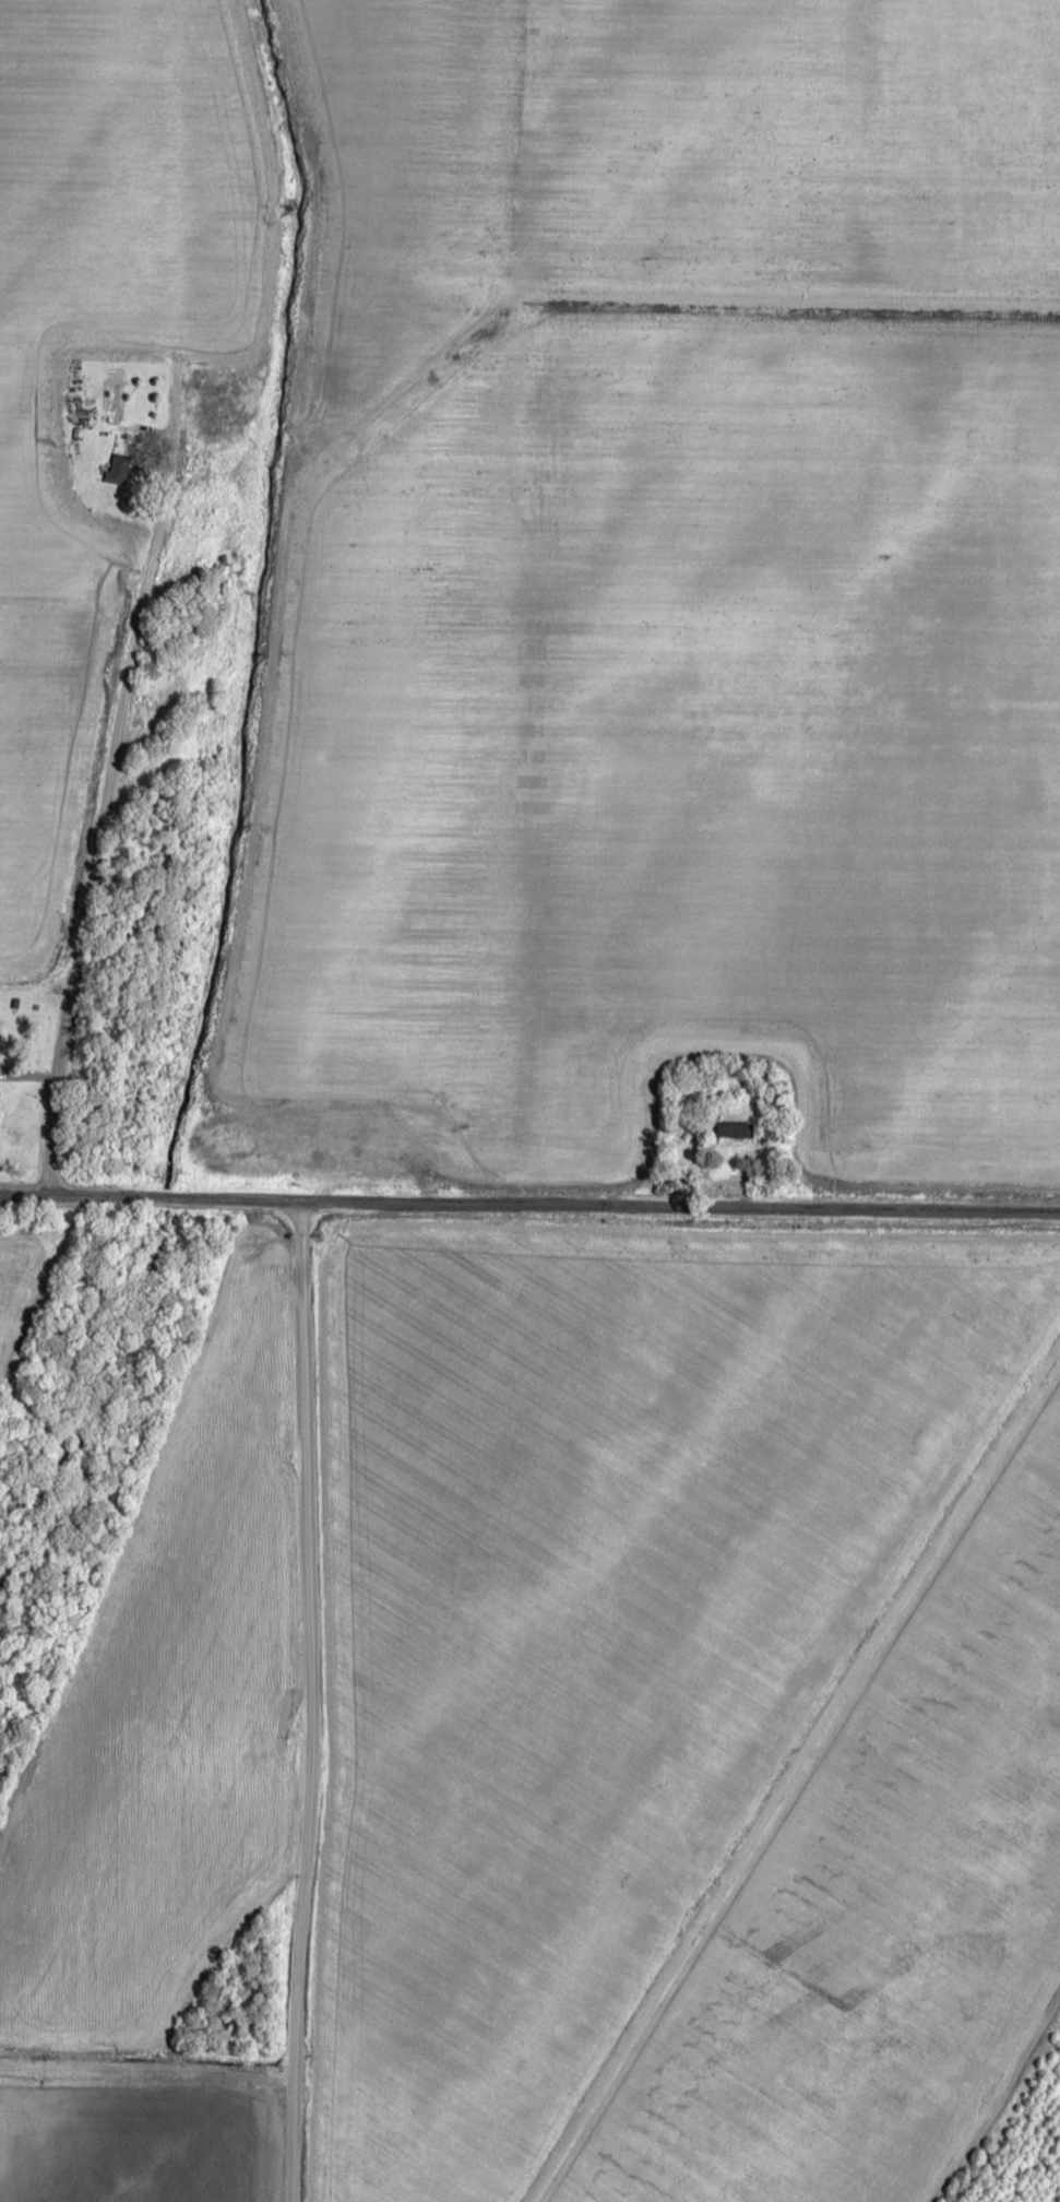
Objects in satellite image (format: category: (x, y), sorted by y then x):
building: (118, 469)
road: (141, 601)
building: (0, 1035)
building: (734, 1129)
road: (529, 1207)
road: (307, 1702)

